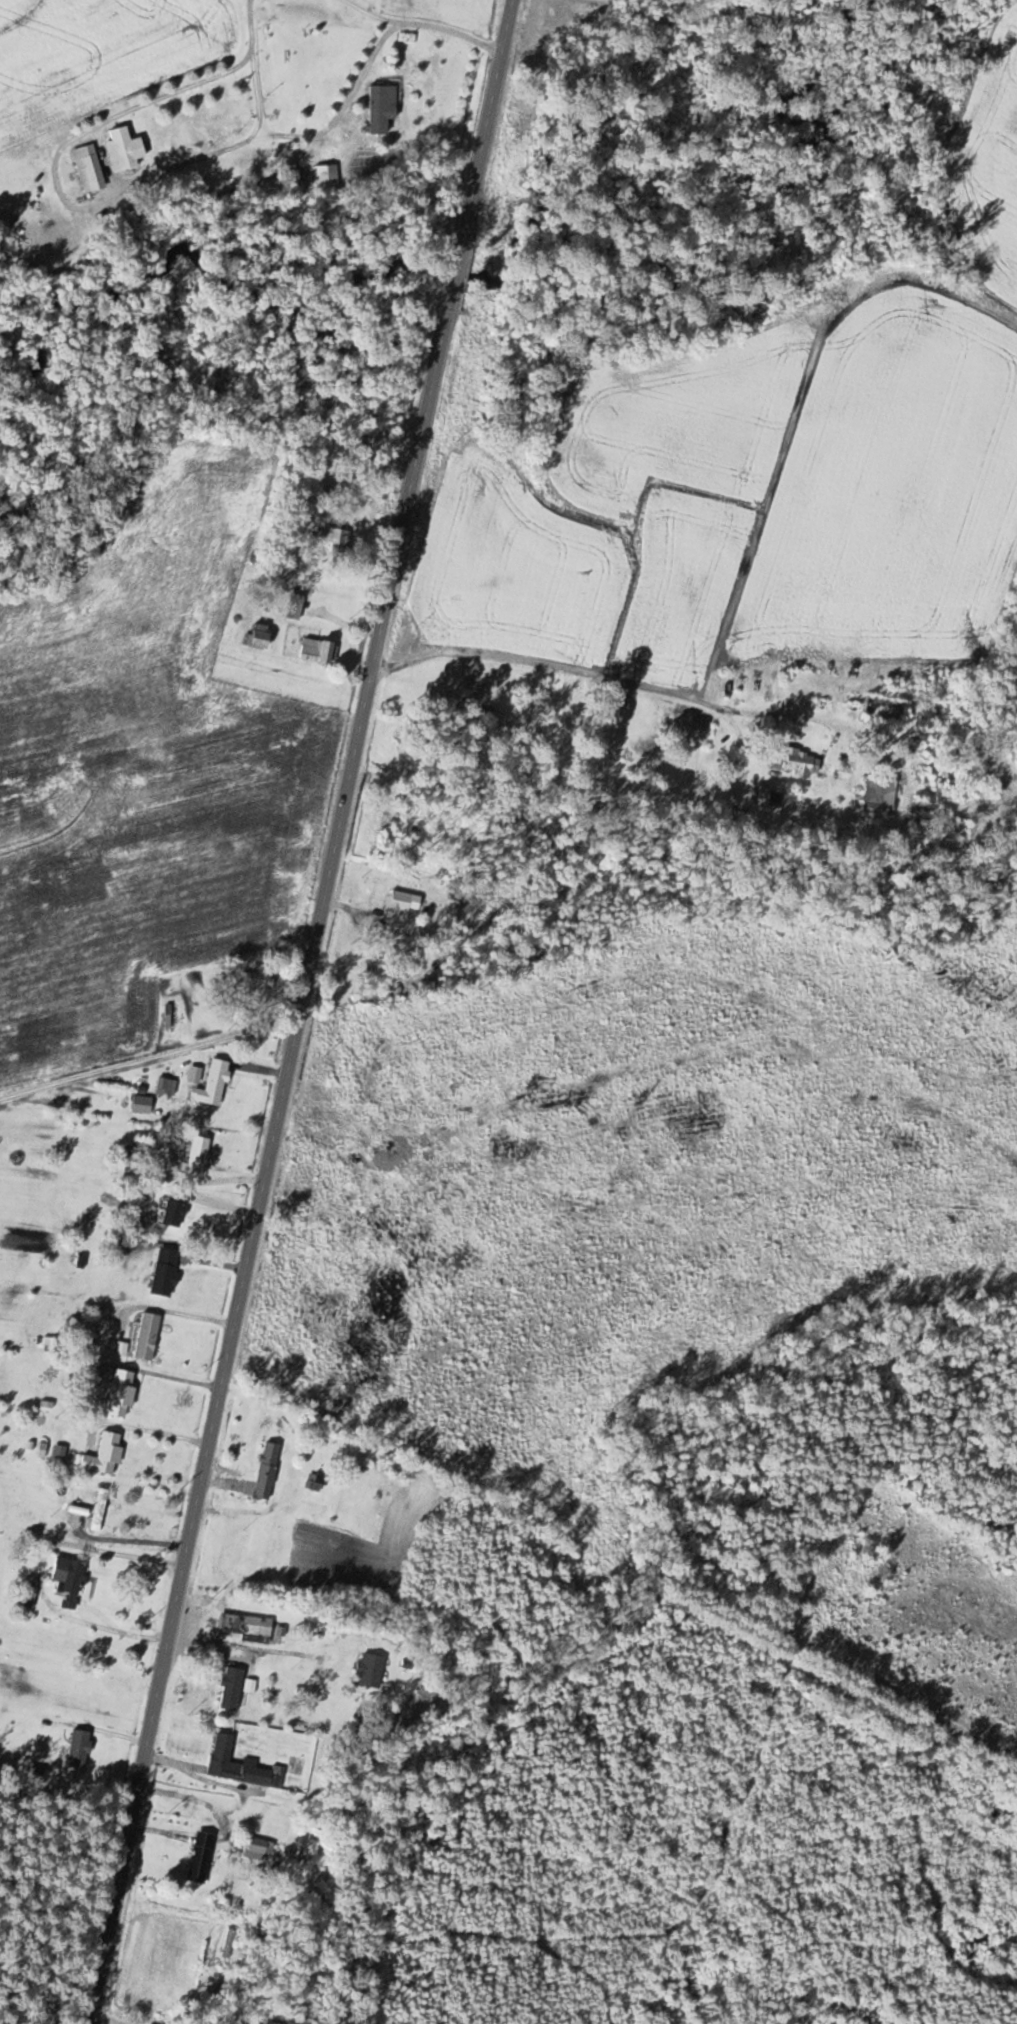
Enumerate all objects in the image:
road: (343, 36)
building: (381, 110)
road: (487, 113)
building: (127, 148)
building: (90, 168)
building: (328, 175)
road: (454, 279)
river: (498, 288)
building: (339, 540)
building: (263, 637)
building: (320, 651)
road: (634, 693)
building: (886, 711)
building: (490, 715)
building: (801, 764)
building: (880, 795)
building: (401, 902)
building: (258, 983)
road: (148, 1060)
building: (214, 1085)
building: (168, 1087)
building: (144, 1105)
building: (200, 1157)
road: (264, 1177)
building: (175, 1213)
building: (166, 1271)
road: (314, 1278)
building: (149, 1336)
road: (169, 1375)
building: (123, 1393)
road: (152, 1429)
building: (106, 1455)
building: (268, 1471)
building: (101, 1510)
road: (42, 1569)
building: (70, 1575)
building: (31, 1591)
building: (247, 1625)
building: (372, 1671)
building: (233, 1689)
building: (81, 1748)
building: (242, 1765)
building: (259, 1849)
building: (284, 1851)
building: (202, 1857)

